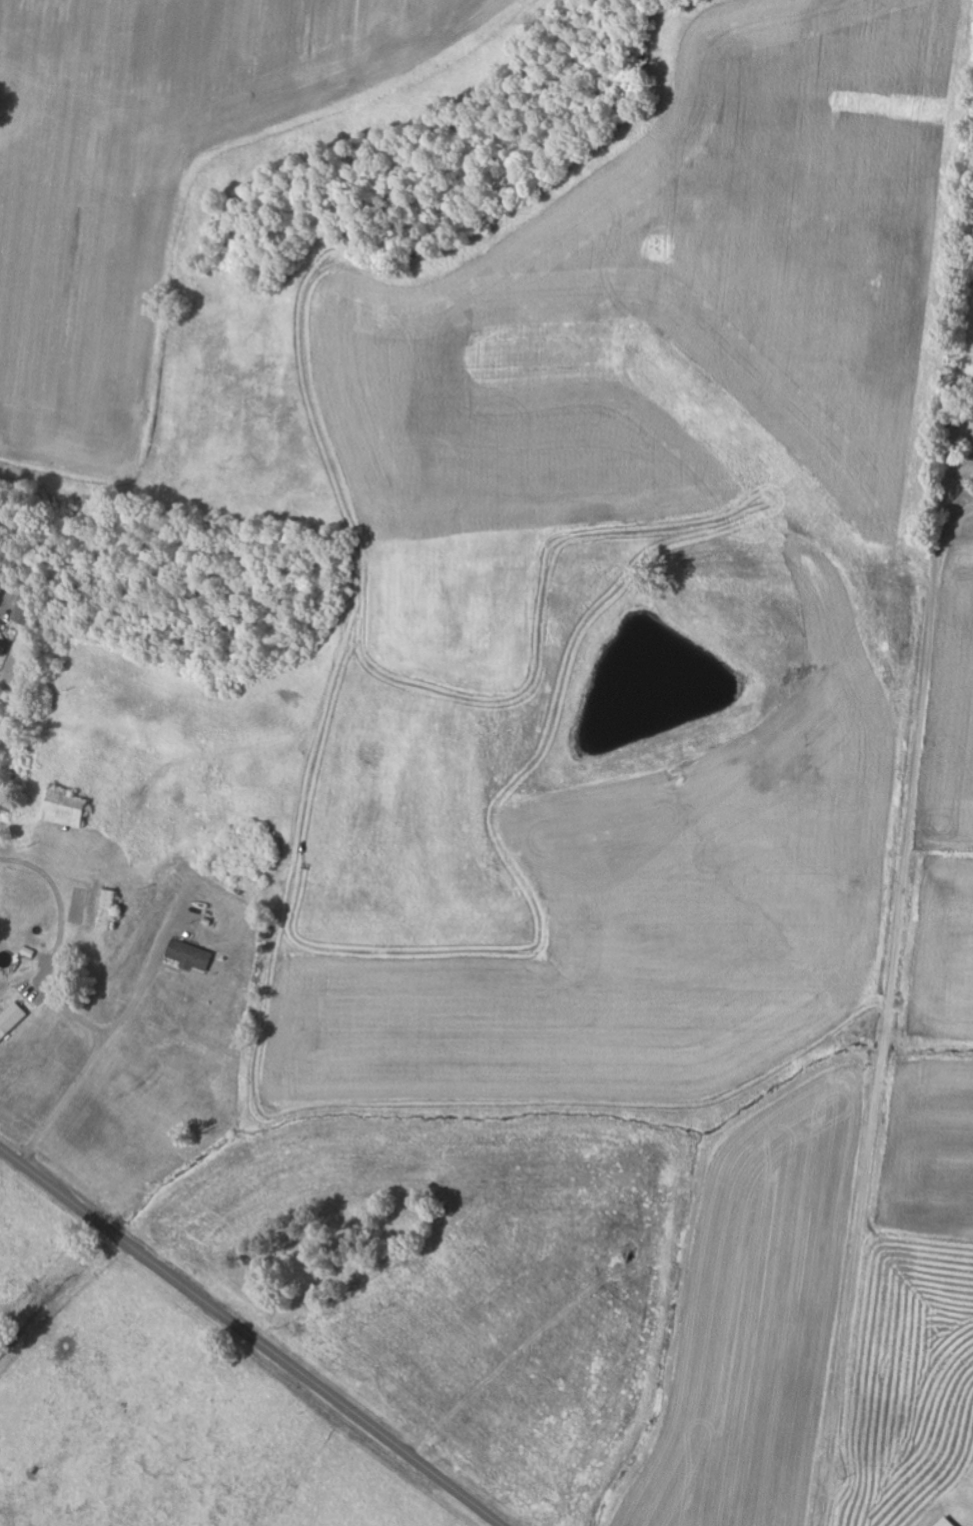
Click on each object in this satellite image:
building: (2, 628)
building: (5, 647)
building: (70, 808)
building: (111, 909)
building: (194, 955)
road: (879, 963)
building: (13, 1021)
road: (251, 1336)
road: (27, 1485)
building: (950, 1522)

